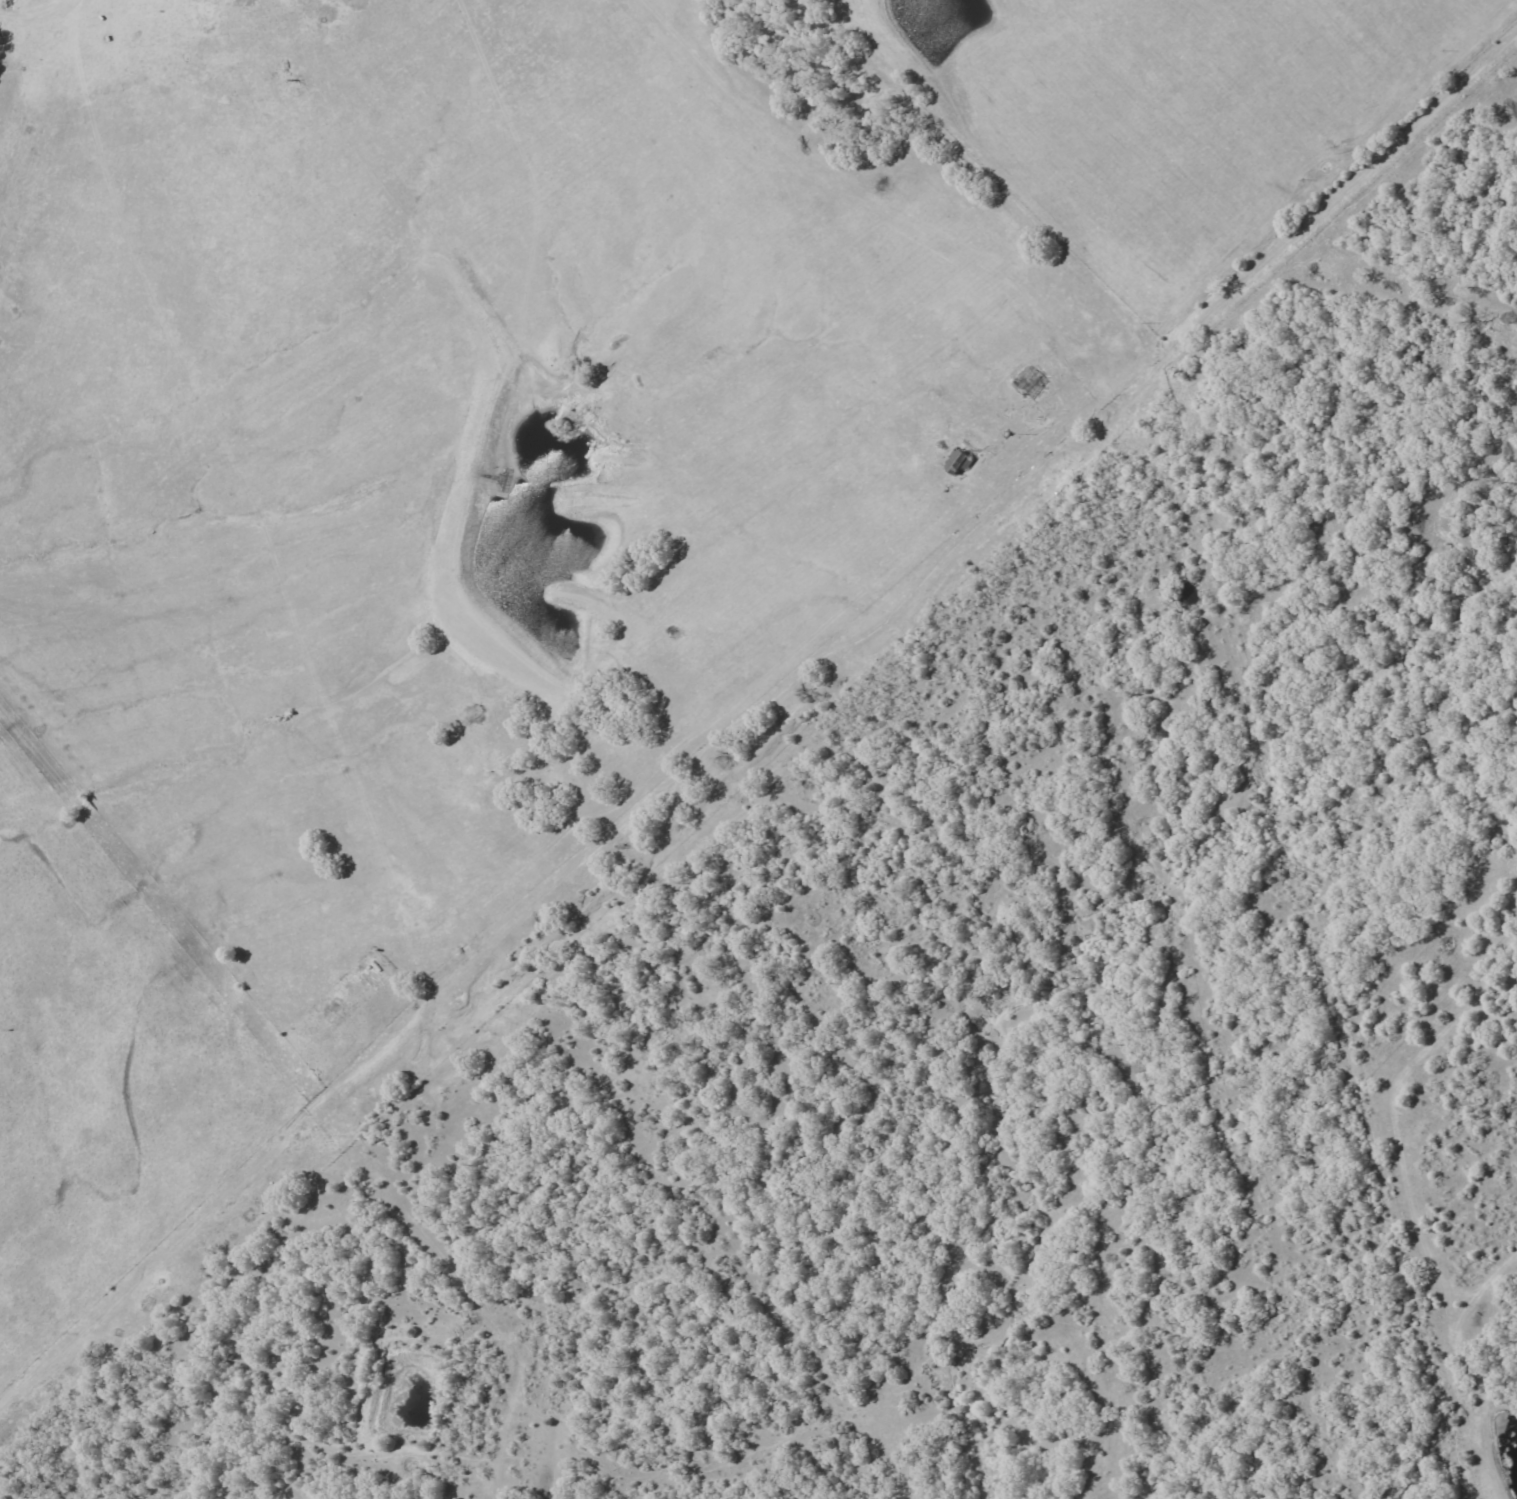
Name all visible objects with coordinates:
road: (652, 626)

